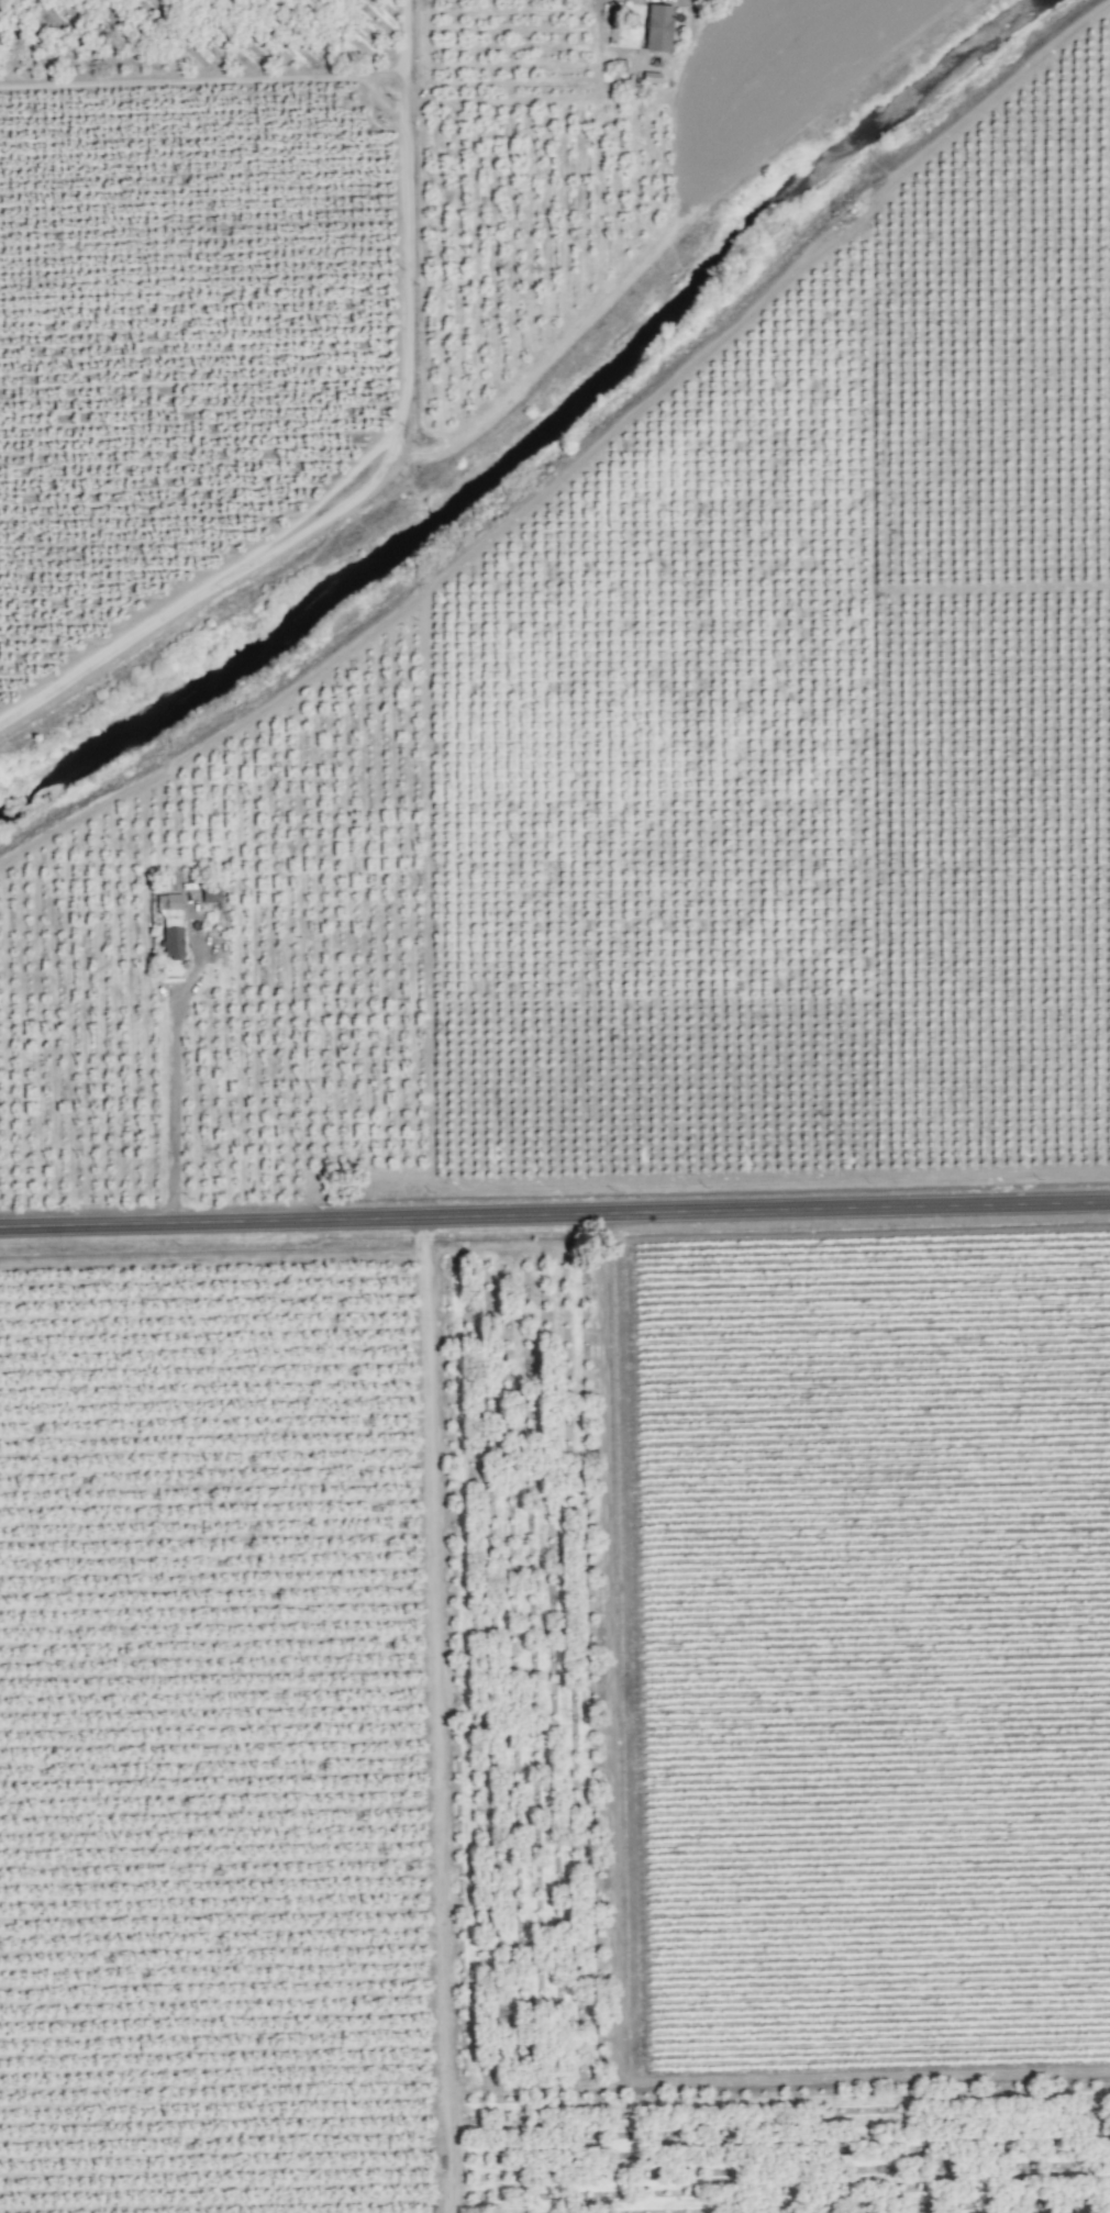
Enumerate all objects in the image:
building: (656, 27)
building: (650, 77)
road: (375, 444)
building: (169, 924)
road: (173, 1072)
road: (554, 1216)

